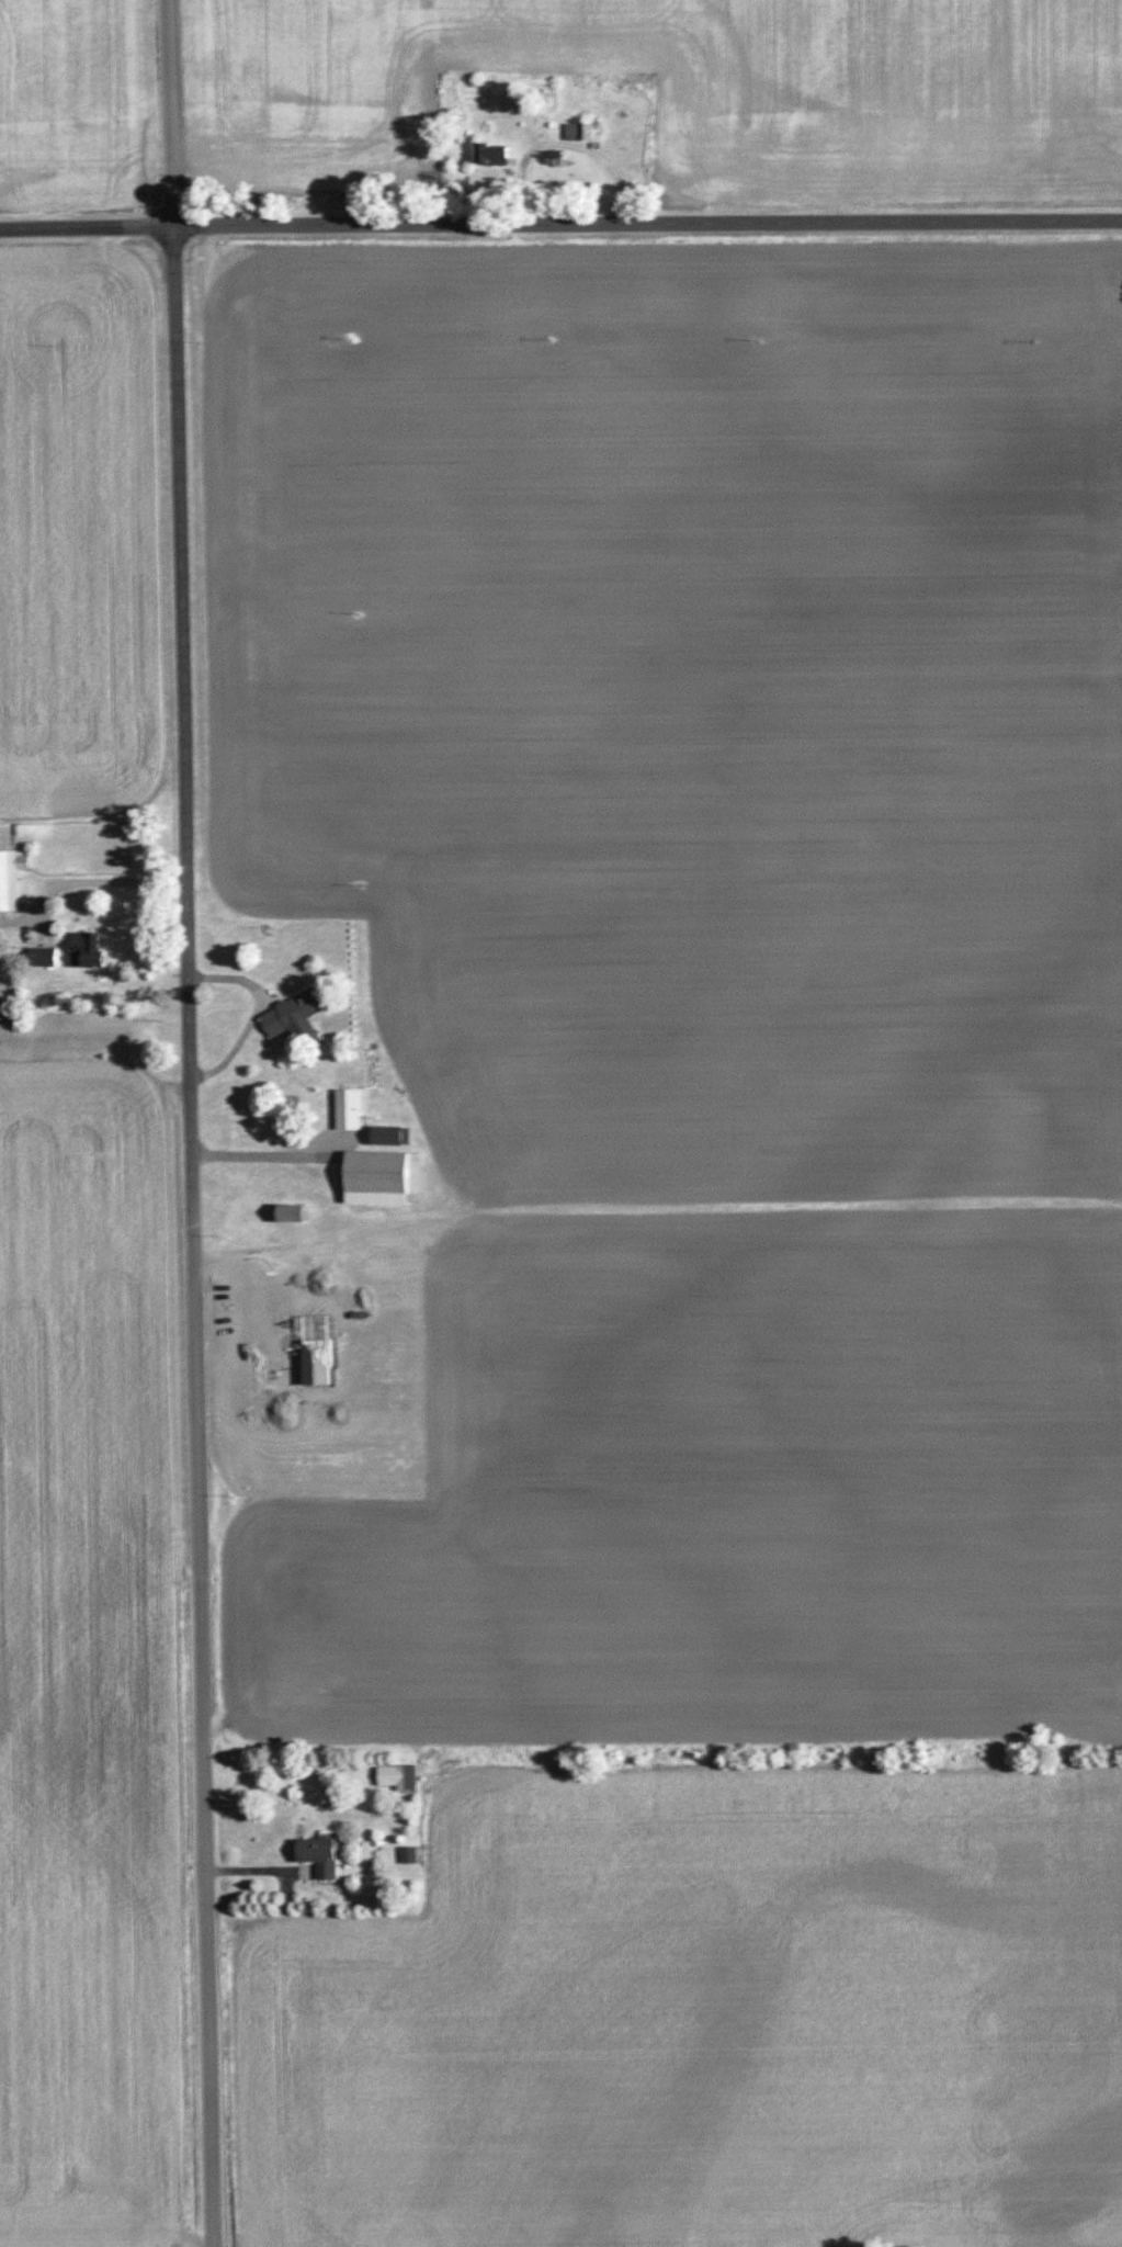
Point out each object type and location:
building: (579, 134)
building: (496, 156)
road: (560, 219)
road: (93, 881)
building: (9, 883)
building: (92, 952)
building: (46, 958)
building: (1, 960)
road: (250, 1009)
building: (296, 1017)
building: (352, 1110)
road: (190, 1122)
building: (395, 1137)
road: (272, 1156)
building: (381, 1178)
building: (296, 1213)
building: (400, 1777)
building: (410, 1855)
building: (322, 1856)

